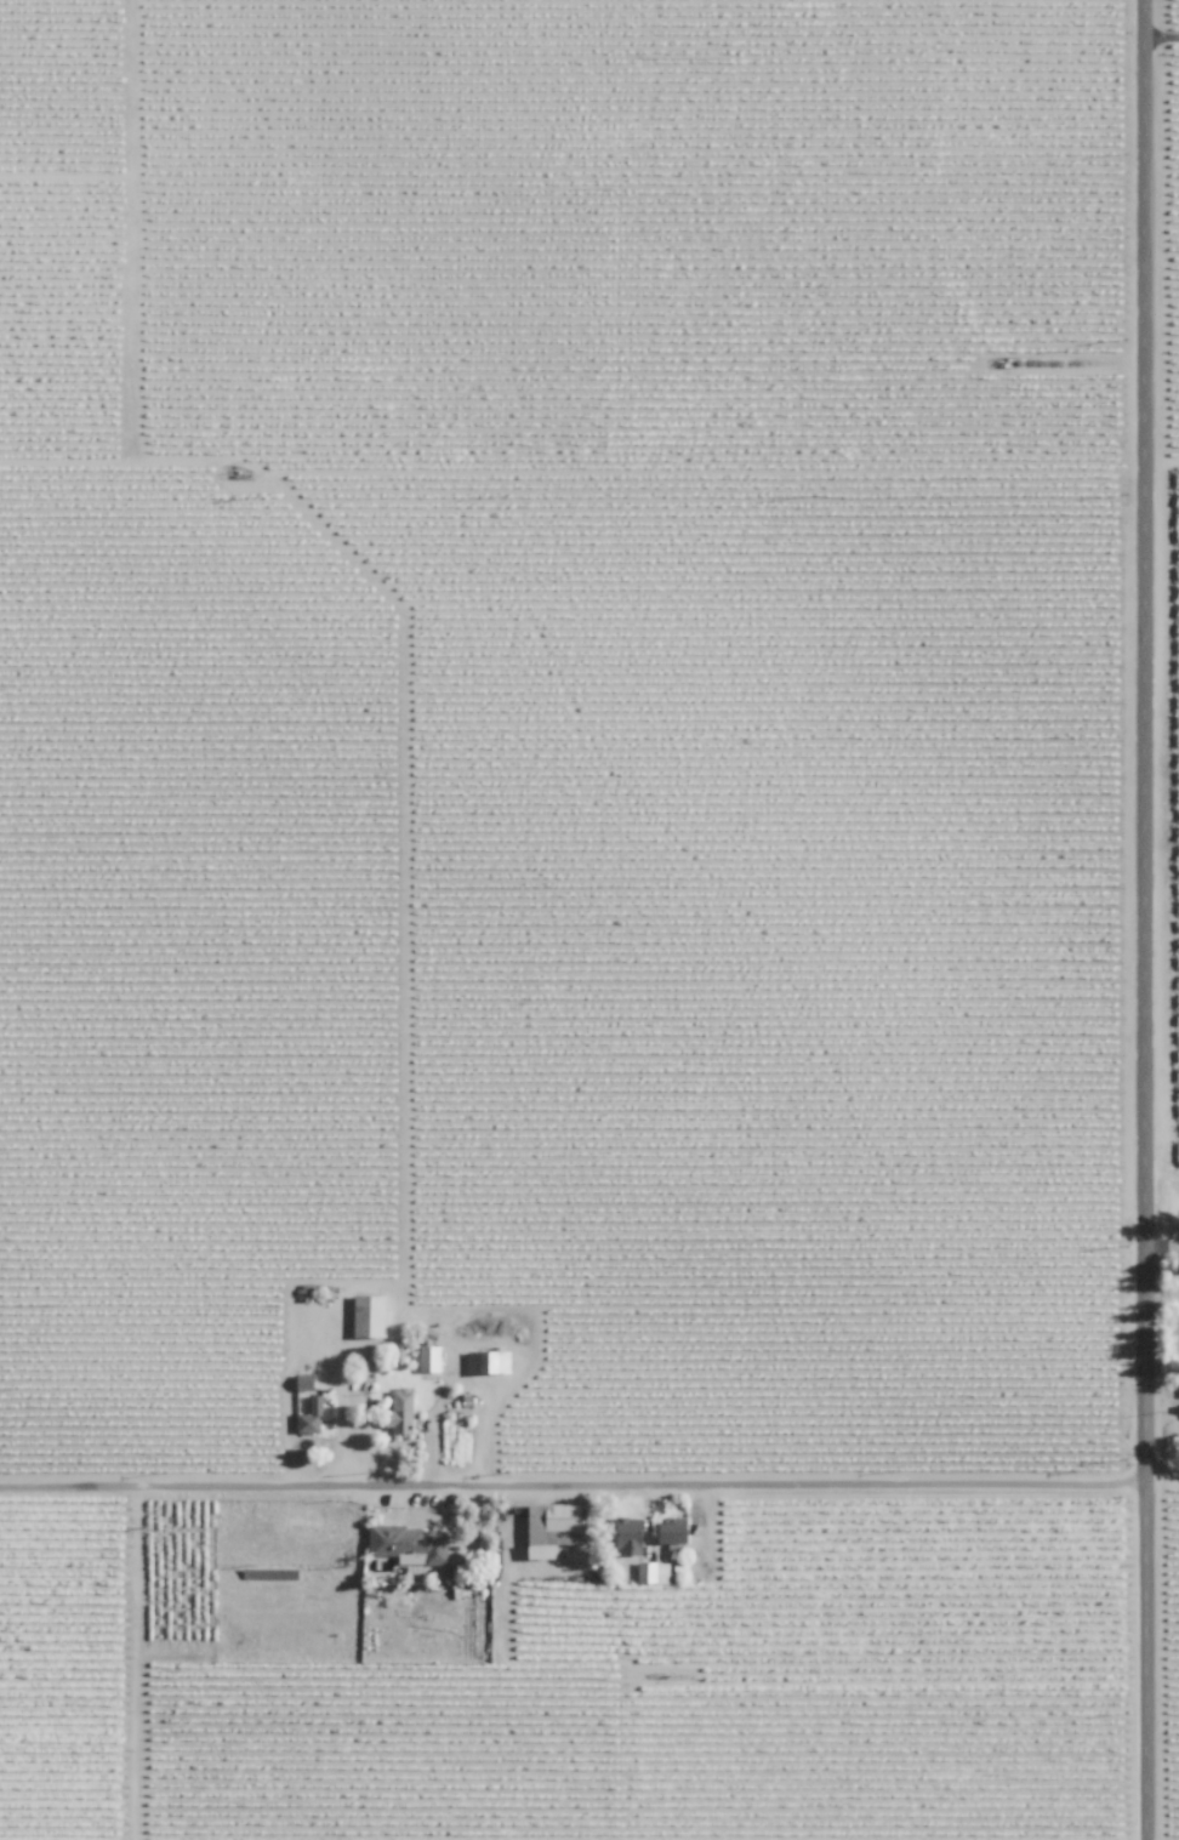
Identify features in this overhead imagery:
road: (1162, 35)
road: (1145, 919)
road: (401, 1306)
building: (369, 1315)
building: (428, 1358)
building: (488, 1362)
building: (401, 1411)
building: (308, 1422)
road: (1162, 1475)
road: (573, 1493)
building: (549, 1526)
building: (408, 1544)
building: (651, 1572)

